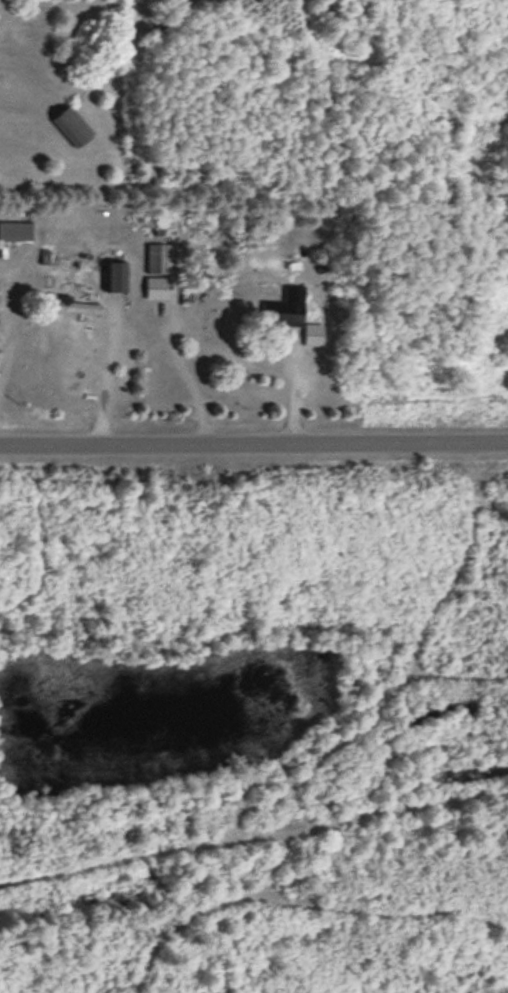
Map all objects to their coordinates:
building: (66, 124)
building: (14, 229)
building: (49, 255)
building: (155, 255)
building: (154, 286)
building: (71, 305)
building: (290, 315)
road: (254, 441)

